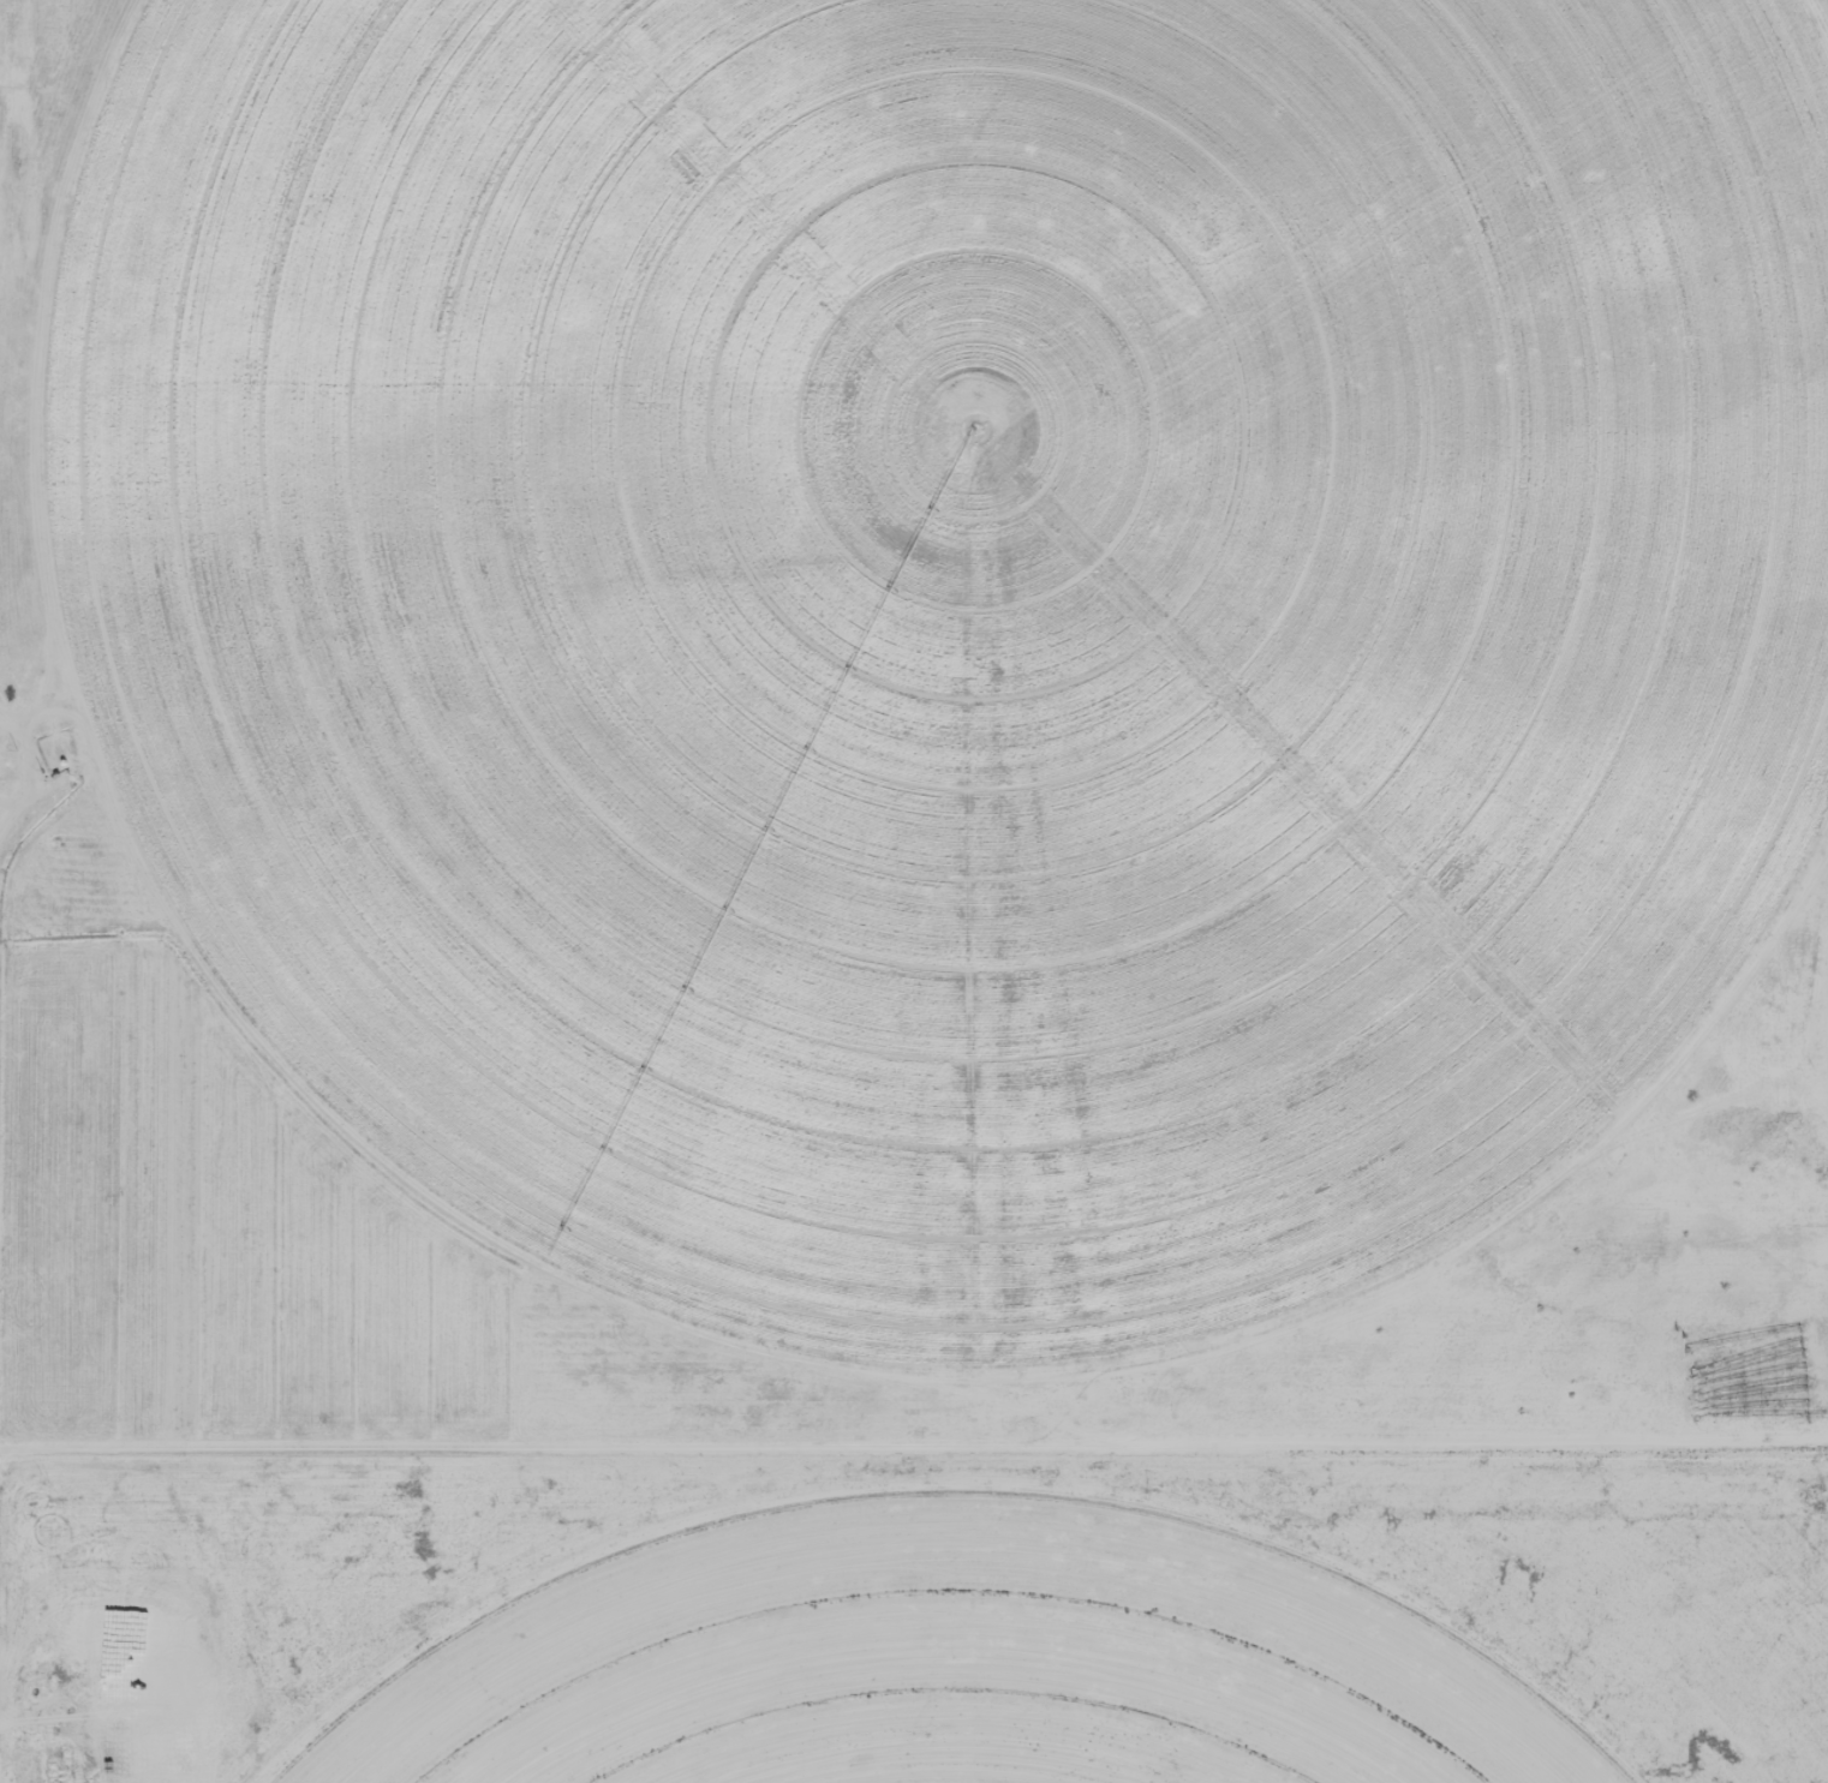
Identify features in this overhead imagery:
crop: (954, 615)
road: (7, 891)
road: (913, 1419)
crop: (949, 1669)
road: (153, 1779)

